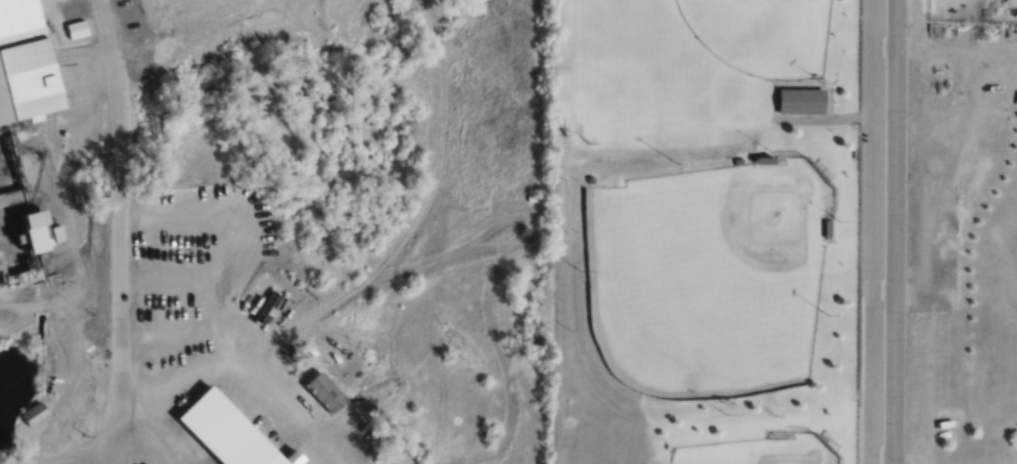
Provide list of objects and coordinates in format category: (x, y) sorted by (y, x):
park: (761, 34)
road: (875, 39)
road: (887, 45)
road: (958, 50)
road: (877, 51)
building: (23, 65)
building: (801, 100)
parking lot: (870, 218)
building: (43, 231)
road: (115, 231)
road: (892, 232)
road: (872, 236)
park: (707, 273)
road: (874, 283)
road: (886, 288)
building: (958, 292)
road: (874, 295)
road: (859, 378)
building: (35, 413)
building: (225, 426)
park: (765, 449)
building: (297, 457)

